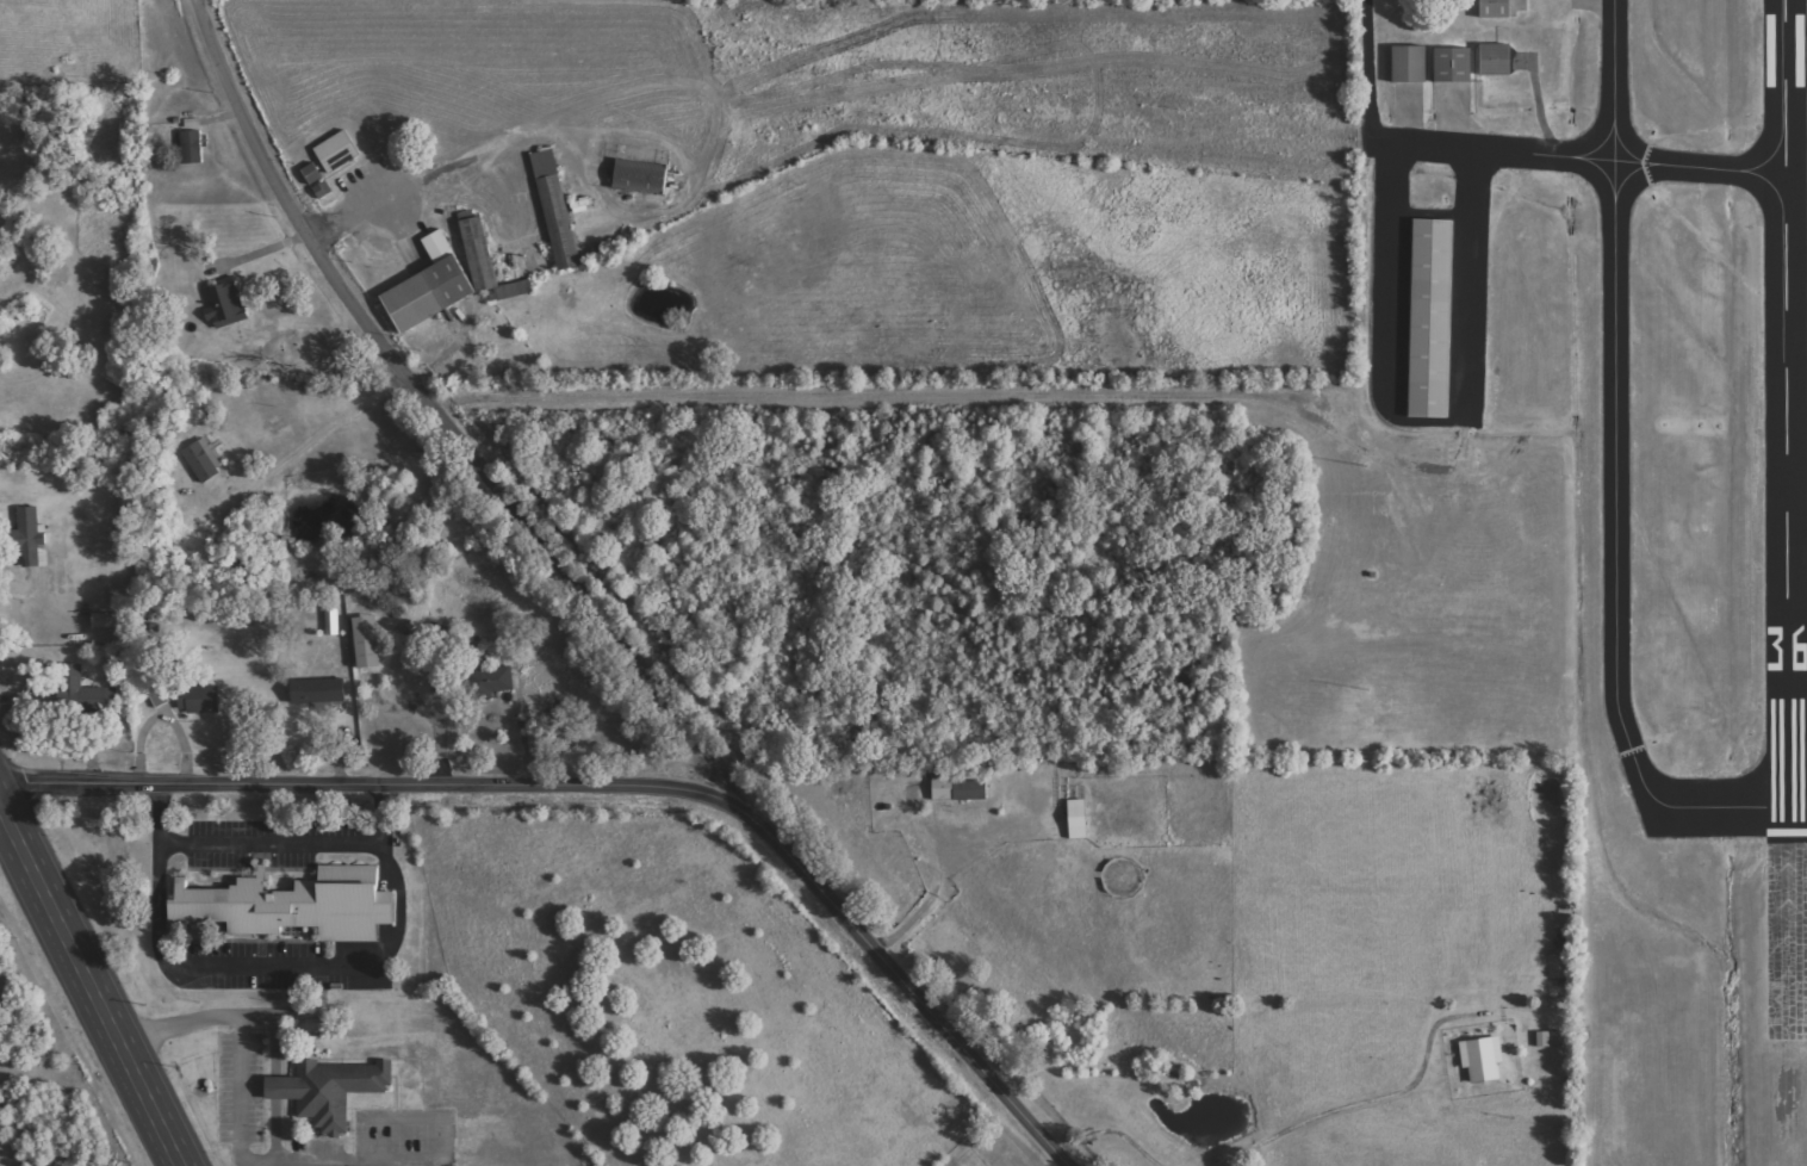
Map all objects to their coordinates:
building: (1496, 10)
building: (1496, 61)
road: (1368, 64)
building: (1410, 66)
building: (1454, 66)
building: (193, 147)
airport taxiway: (1700, 165)
building: (313, 173)
building: (642, 176)
building: (557, 209)
building: (488, 262)
building: (433, 285)
building: (226, 306)
building: (1430, 318)
road: (871, 393)
road: (439, 413)
airport runway: (1786, 421)
building: (205, 461)
airport taxiway: (1615, 471)
building: (32, 537)
building: (112, 620)
building: (333, 622)
building: (370, 643)
building: (491, 682)
building: (82, 691)
building: (322, 691)
building: (160, 697)
building: (200, 700)
road: (616, 782)
building: (958, 790)
building: (1080, 819)
building: (297, 905)
road: (88, 987)
building: (1484, 1059)
building: (331, 1090)

